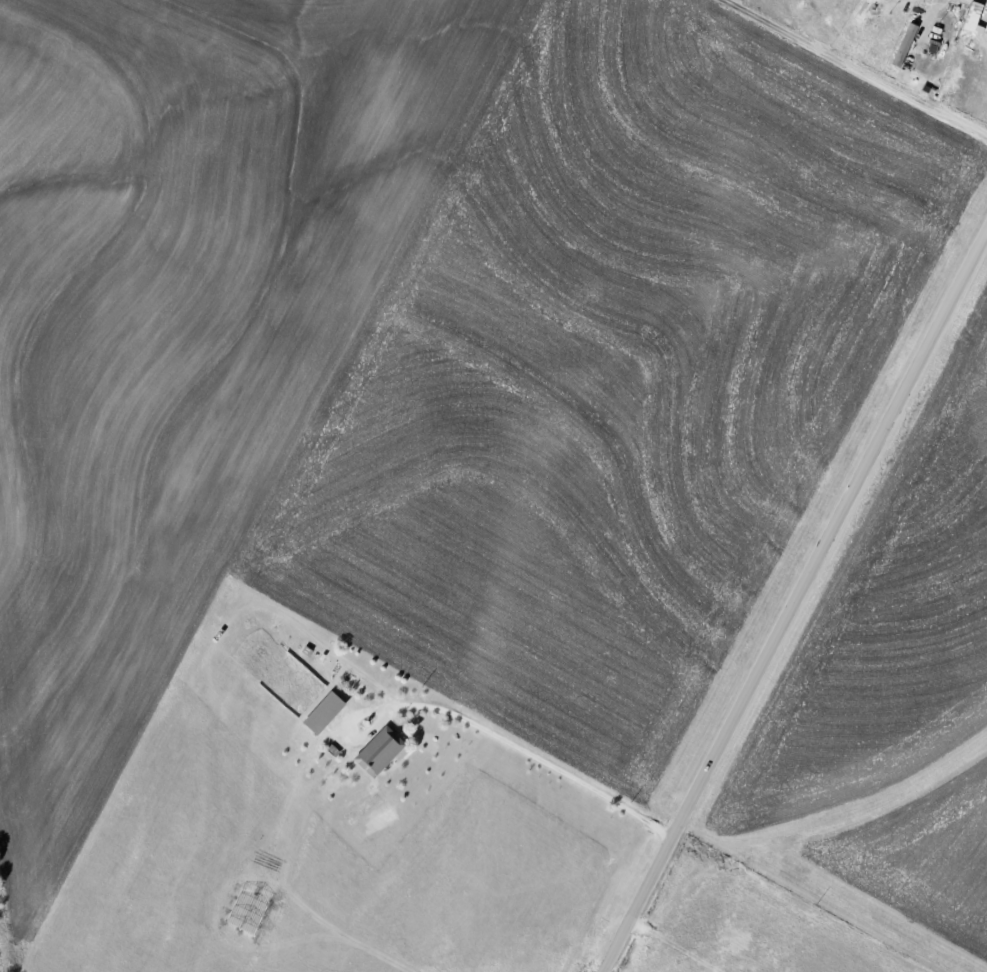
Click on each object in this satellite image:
building: (972, 19)
building: (906, 45)
road: (866, 66)
road: (795, 605)
building: (326, 712)
road: (494, 735)
building: (381, 751)

